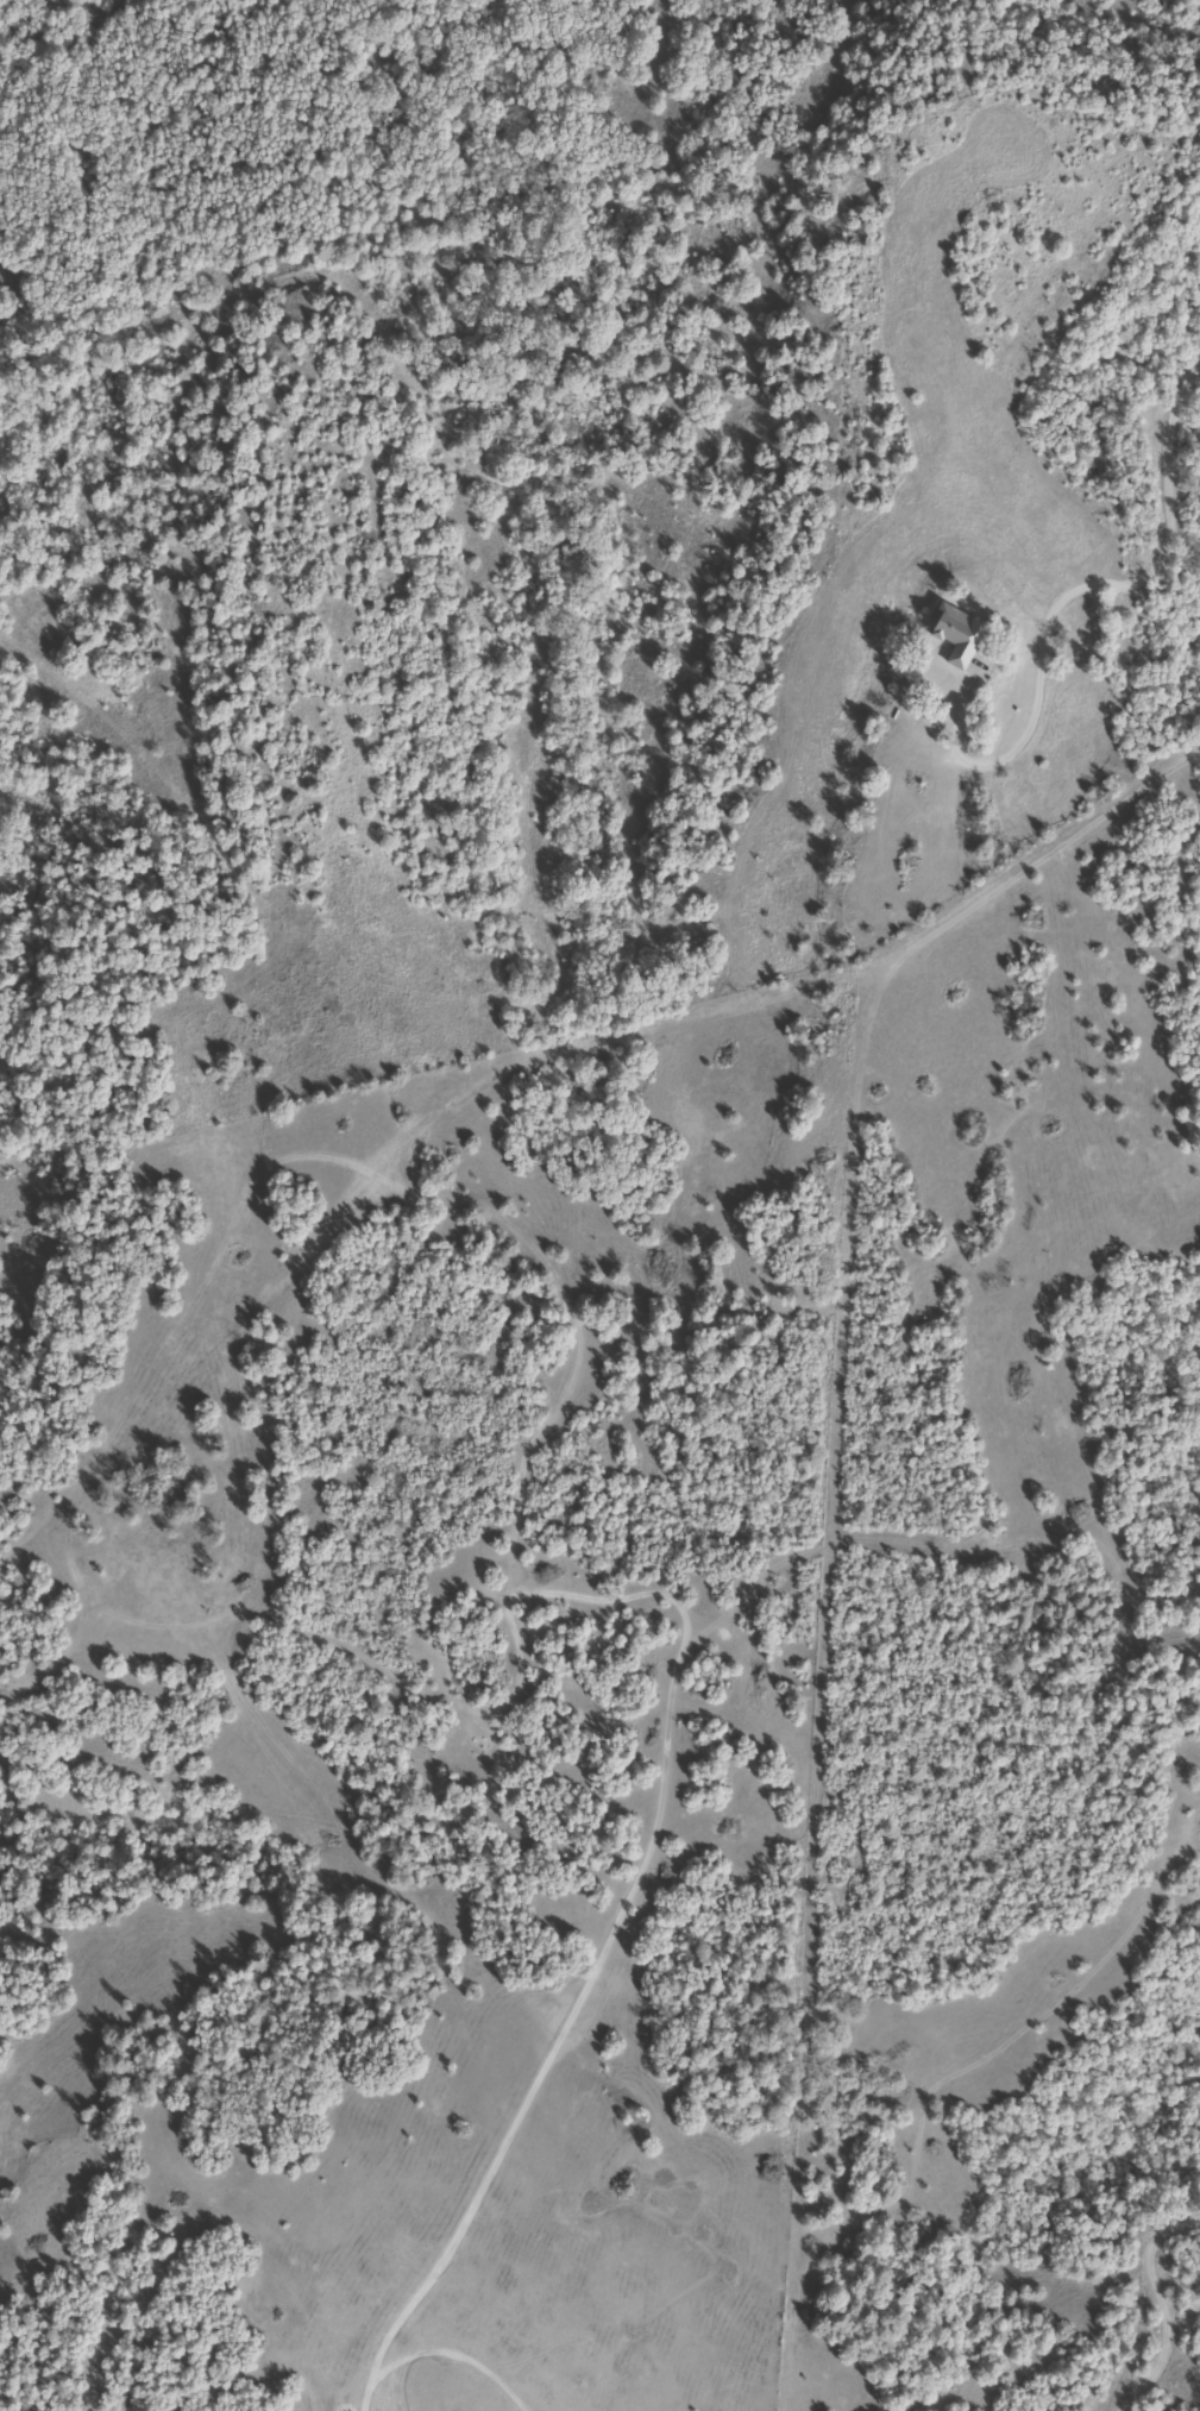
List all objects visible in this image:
building: (953, 635)

